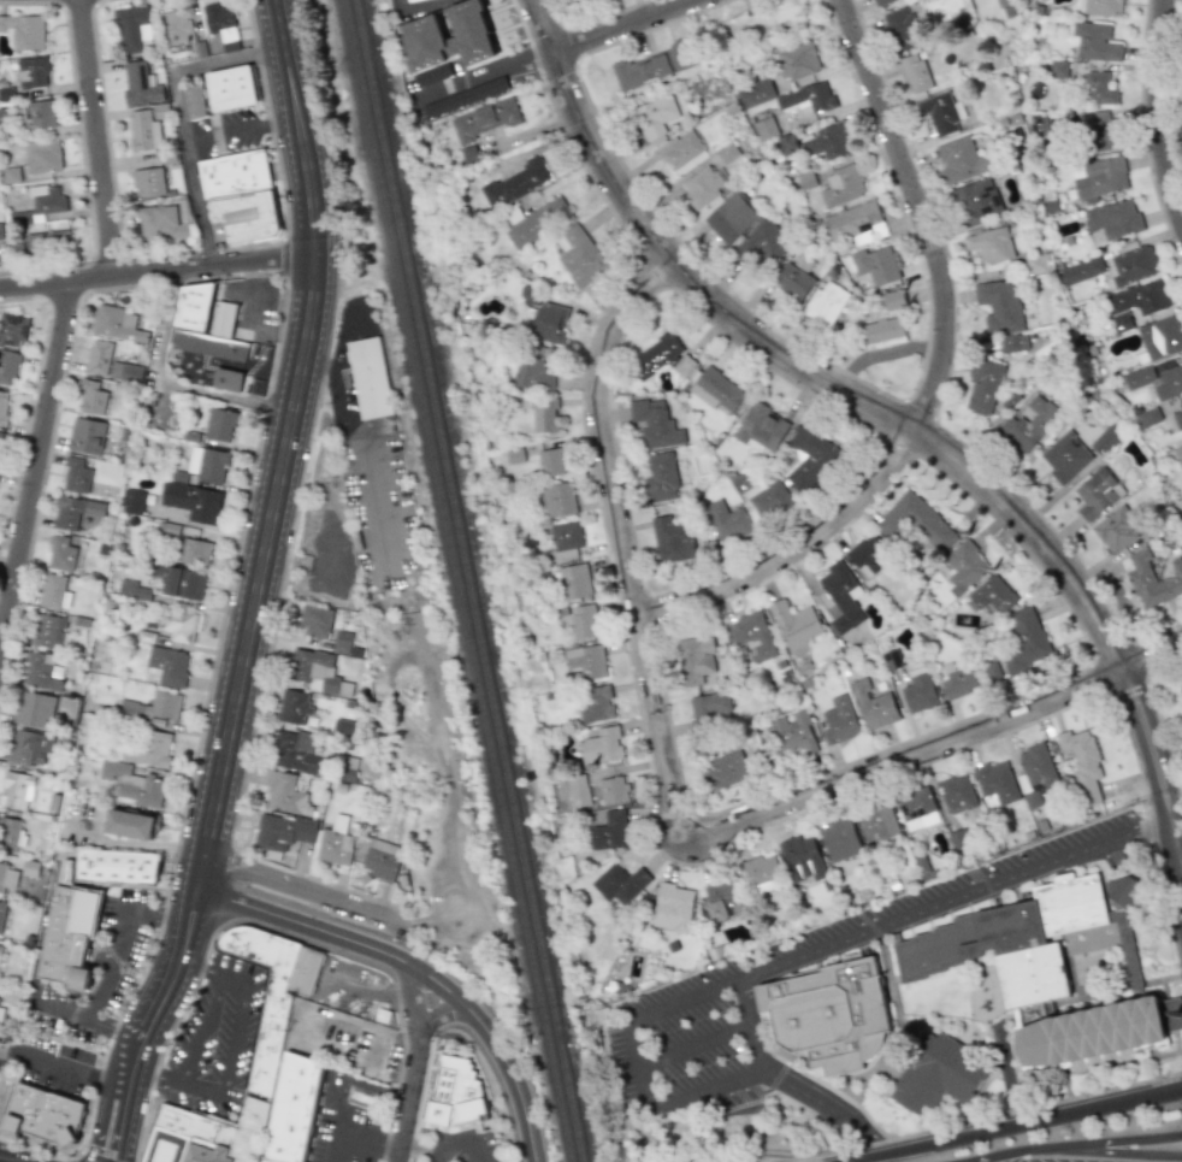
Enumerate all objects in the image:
building: (409, 0)
building: (881, 2)
building: (1100, 7)
building: (761, 22)
building: (221, 25)
road: (546, 25)
road: (623, 25)
building: (176, 26)
building: (132, 28)
building: (902, 29)
building: (419, 30)
building: (24, 31)
building: (1095, 41)
building: (797, 60)
building: (652, 65)
road: (490, 67)
building: (1058, 69)
building: (32, 72)
building: (912, 72)
building: (431, 75)
building: (140, 83)
building: (231, 88)
building: (1099, 88)
building: (756, 93)
building: (808, 96)
building: (463, 98)
building: (194, 100)
building: (432, 111)
building: (940, 112)
road: (185, 113)
road: (1157, 113)
building: (40, 114)
building: (654, 116)
building: (485, 120)
road: (299, 124)
building: (1038, 124)
road: (244, 128)
building: (766, 129)
building: (1098, 130)
building: (143, 131)
road: (96, 137)
building: (827, 141)
building: (787, 144)
building: (680, 151)
building: (727, 152)
building: (468, 153)
building: (42, 155)
building: (961, 159)
building: (1099, 178)
building: (148, 182)
building: (514, 182)
building: (703, 185)
building: (843, 185)
building: (240, 196)
building: (975, 200)
building: (40, 205)
building: (731, 217)
building: (1113, 218)
building: (538, 222)
building: (856, 223)
building: (160, 225)
building: (762, 242)
building: (48, 243)
building: (989, 243)
building: (580, 256)
building: (1038, 263)
building: (876, 265)
building: (1130, 265)
road: (159, 270)
building: (1082, 270)
building: (792, 281)
building: (1139, 297)
building: (893, 300)
building: (825, 303)
building: (999, 305)
building: (193, 306)
road: (255, 317)
building: (221, 319)
building: (549, 322)
building: (1122, 322)
building: (117, 324)
building: (12, 329)
building: (883, 332)
building: (1160, 337)
building: (1013, 343)
building: (219, 348)
building: (99, 356)
building: (660, 356)
building: (533, 366)
building: (8, 367)
building: (126, 372)
building: (368, 377)
road: (933, 378)
building: (226, 379)
building: (1168, 382)
building: (983, 387)
road: (166, 388)
building: (716, 389)
building: (91, 397)
building: (4, 407)
building: (544, 417)
building: (1176, 419)
road: (347, 423)
building: (1028, 423)
building: (219, 424)
building: (654, 424)
building: (761, 427)
road: (915, 432)
building: (87, 435)
building: (1107, 438)
building: (0, 440)
road: (35, 455)
building: (1065, 456)
building: (811, 459)
building: (551, 461)
building: (206, 464)
building: (76, 476)
building: (660, 476)
building: (1095, 492)
building: (557, 499)
building: (770, 500)
building: (132, 501)
building: (191, 501)
building: (73, 511)
building: (726, 520)
building: (915, 521)
building: (167, 529)
building: (1115, 529)
building: (566, 535)
road: (620, 539)
building: (670, 539)
building: (194, 551)
building: (61, 554)
building: (865, 554)
building: (963, 566)
road: (264, 571)
railway: (461, 580)
railway: (473, 580)
railway: (496, 580)
building: (573, 580)
building: (1148, 580)
building: (181, 582)
building: (132, 590)
building: (54, 592)
building: (991, 594)
building: (841, 595)
building: (315, 620)
building: (583, 623)
building: (793, 623)
building: (178, 624)
building: (48, 630)
building: (752, 635)
building: (1024, 641)
building: (342, 642)
building: (696, 659)
building: (587, 660)
building: (166, 666)
building: (314, 671)
building: (993, 671)
building: (42, 672)
building: (957, 680)
building: (918, 692)
building: (595, 703)
building: (156, 706)
building: (292, 706)
building: (873, 706)
building: (708, 708)
building: (34, 709)
building: (839, 720)
building: (343, 727)
building: (793, 733)
building: (602, 747)
building: (29, 748)
road: (934, 748)
building: (148, 749)
building: (296, 751)
building: (1082, 761)
building: (726, 769)
building: (1036, 775)
building: (995, 781)
building: (131, 783)
building: (16, 790)
building: (578, 790)
building: (611, 790)
building: (284, 795)
building: (959, 797)
building: (916, 808)
building: (876, 822)
building: (131, 825)
building: (282, 831)
building: (610, 831)
building: (10, 833)
building: (839, 838)
road: (108, 840)
building: (333, 842)
building: (800, 857)
building: (380, 859)
road: (1180, 859)
building: (117, 867)
building: (761, 872)
building: (7, 877)
building: (619, 883)
road: (454, 898)
building: (720, 898)
building: (673, 908)
building: (1, 914)
building: (1124, 931)
building: (69, 937)
road: (118, 937)
building: (1024, 939)
road: (840, 945)
building: (0, 948)
road: (410, 973)
road: (61, 1011)
building: (1, 1014)
road: (437, 1015)
building: (832, 1015)
road: (150, 1024)
road: (199, 1027)
road: (114, 1030)
building: (1094, 1032)
parking lot: (213, 1037)
road: (695, 1049)
building: (266, 1050)
road: (229, 1055)
road: (639, 1066)
road: (412, 1067)
road: (64, 1068)
building: (936, 1073)
building: (364, 1093)
building: (455, 1093)
road: (1029, 1107)
building: (295, 1109)
building: (42, 1114)
road: (1020, 1126)
parking lot: (347, 1133)
road: (355, 1136)
parking lot: (459, 1145)
road: (415, 1146)
road: (453, 1146)
road: (1085, 1146)
road: (475, 1152)
road: (408, 1154)
road: (797, 1154)
road: (1106, 1154)
road: (432, 1156)
road: (8, 1158)
road: (13, 1161)

